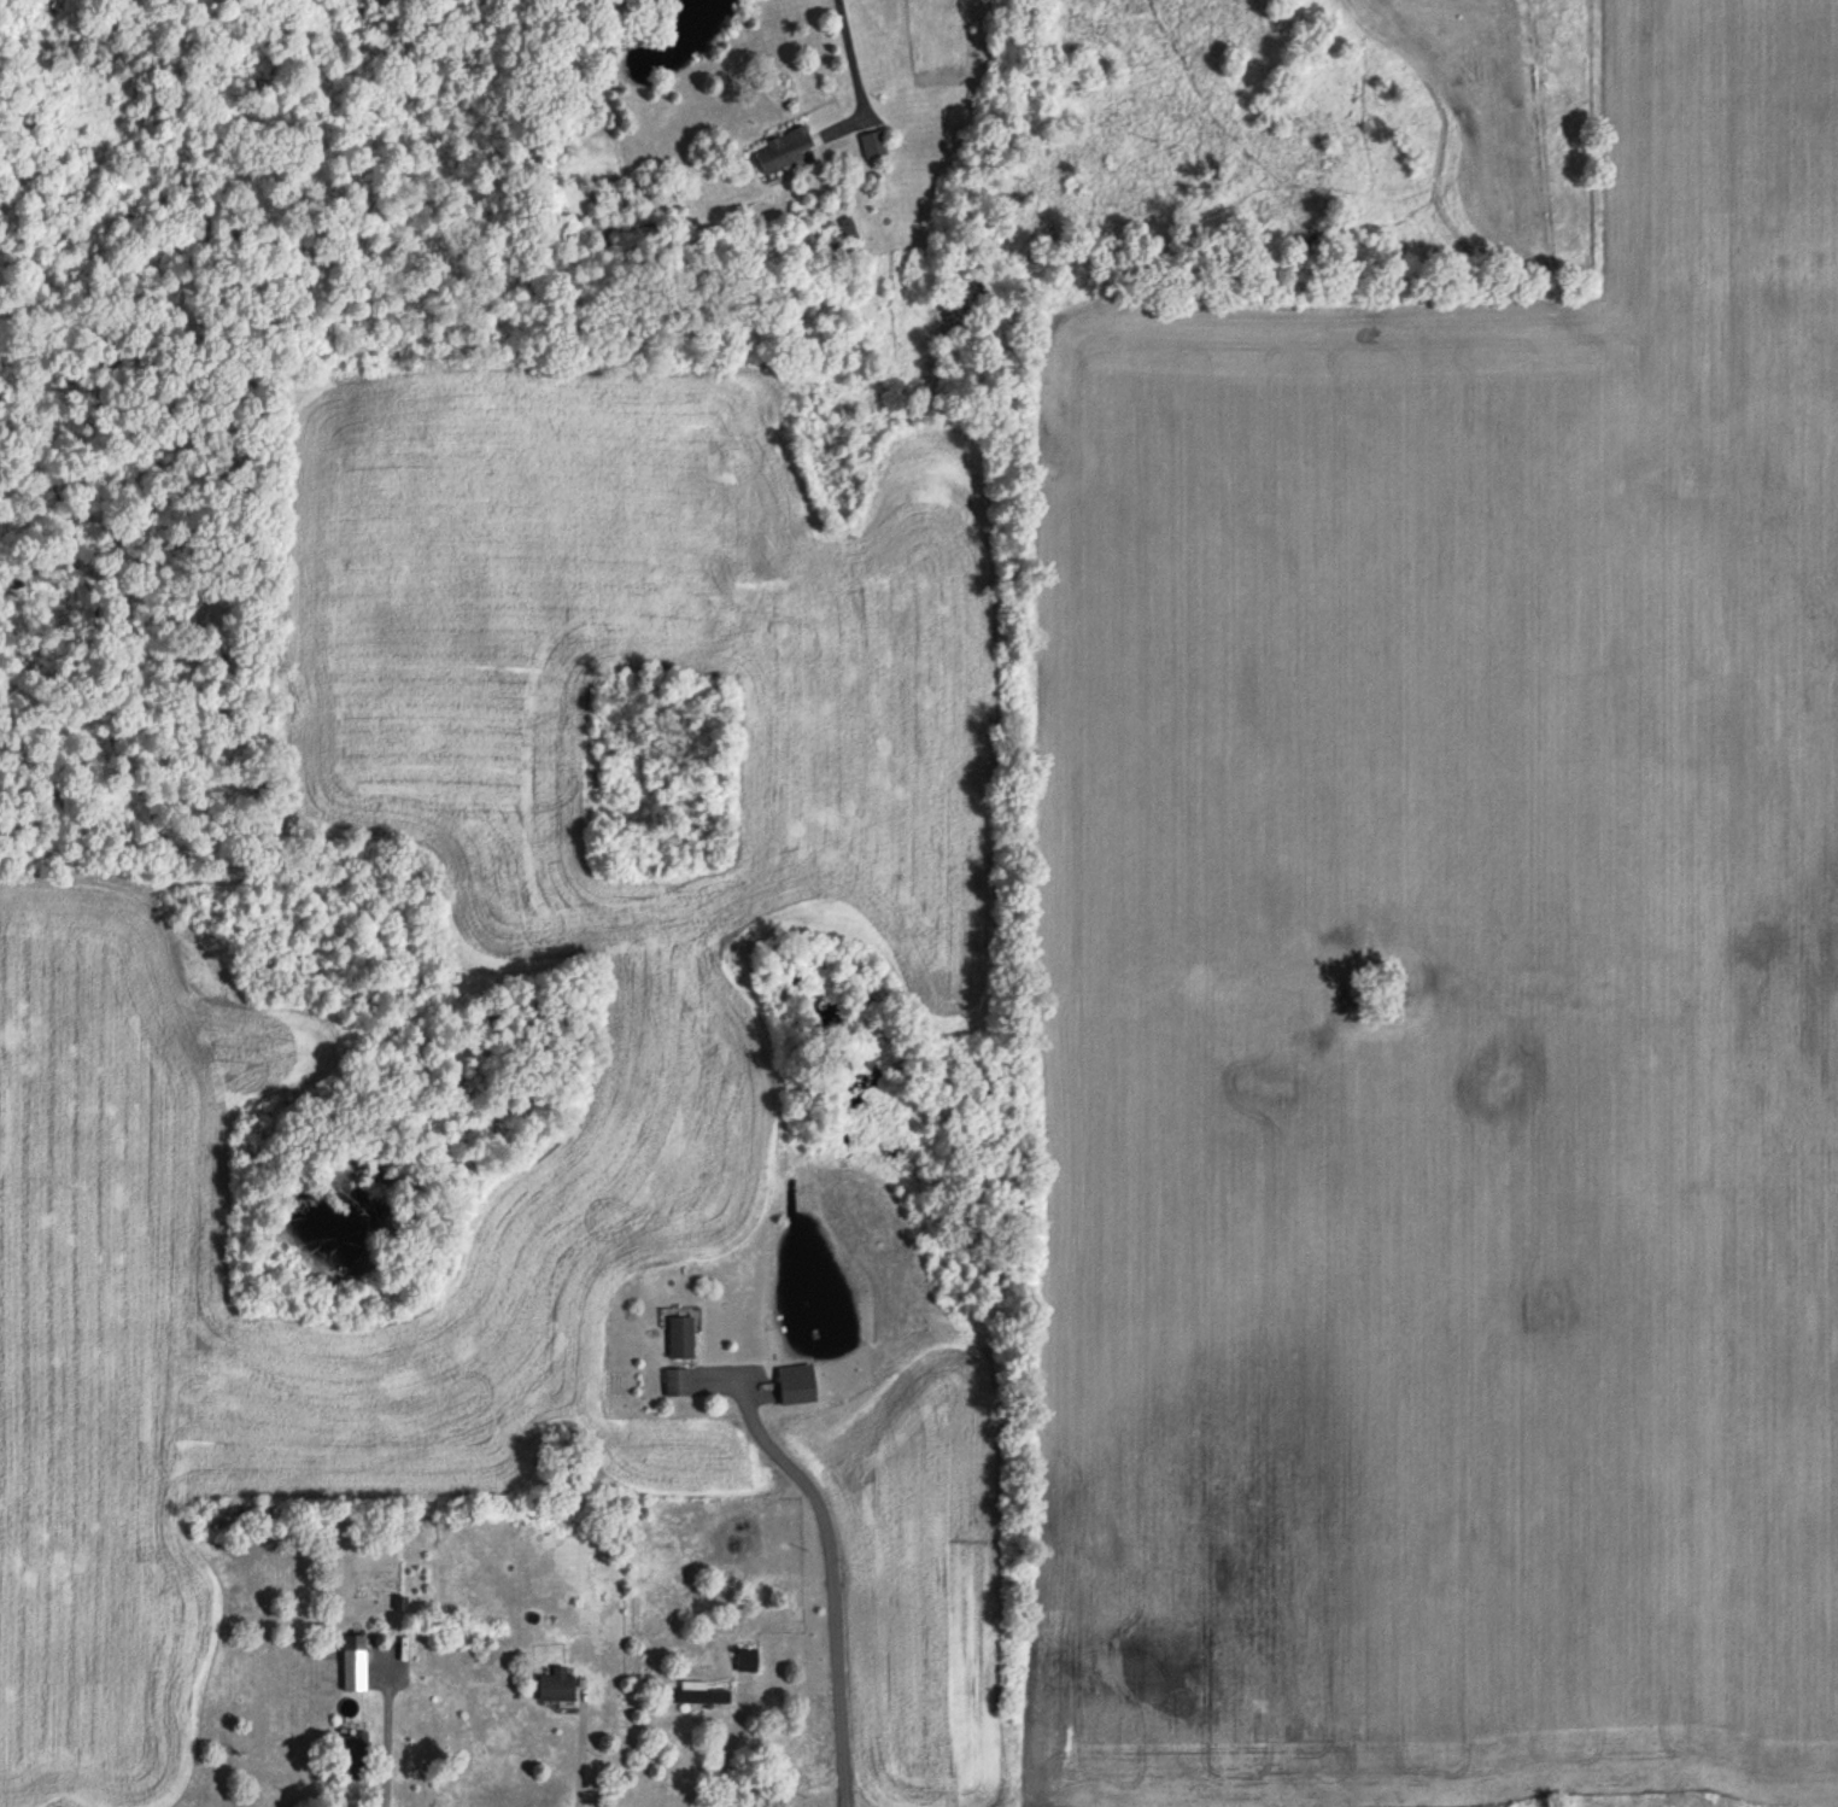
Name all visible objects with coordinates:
road: (855, 74)
building: (871, 145)
building: (786, 152)
building: (683, 1339)
building: (678, 1384)
road: (835, 1581)
building: (748, 1661)
building: (356, 1671)
building: (558, 1686)
building: (696, 1695)
road: (382, 1732)
road: (578, 1756)

